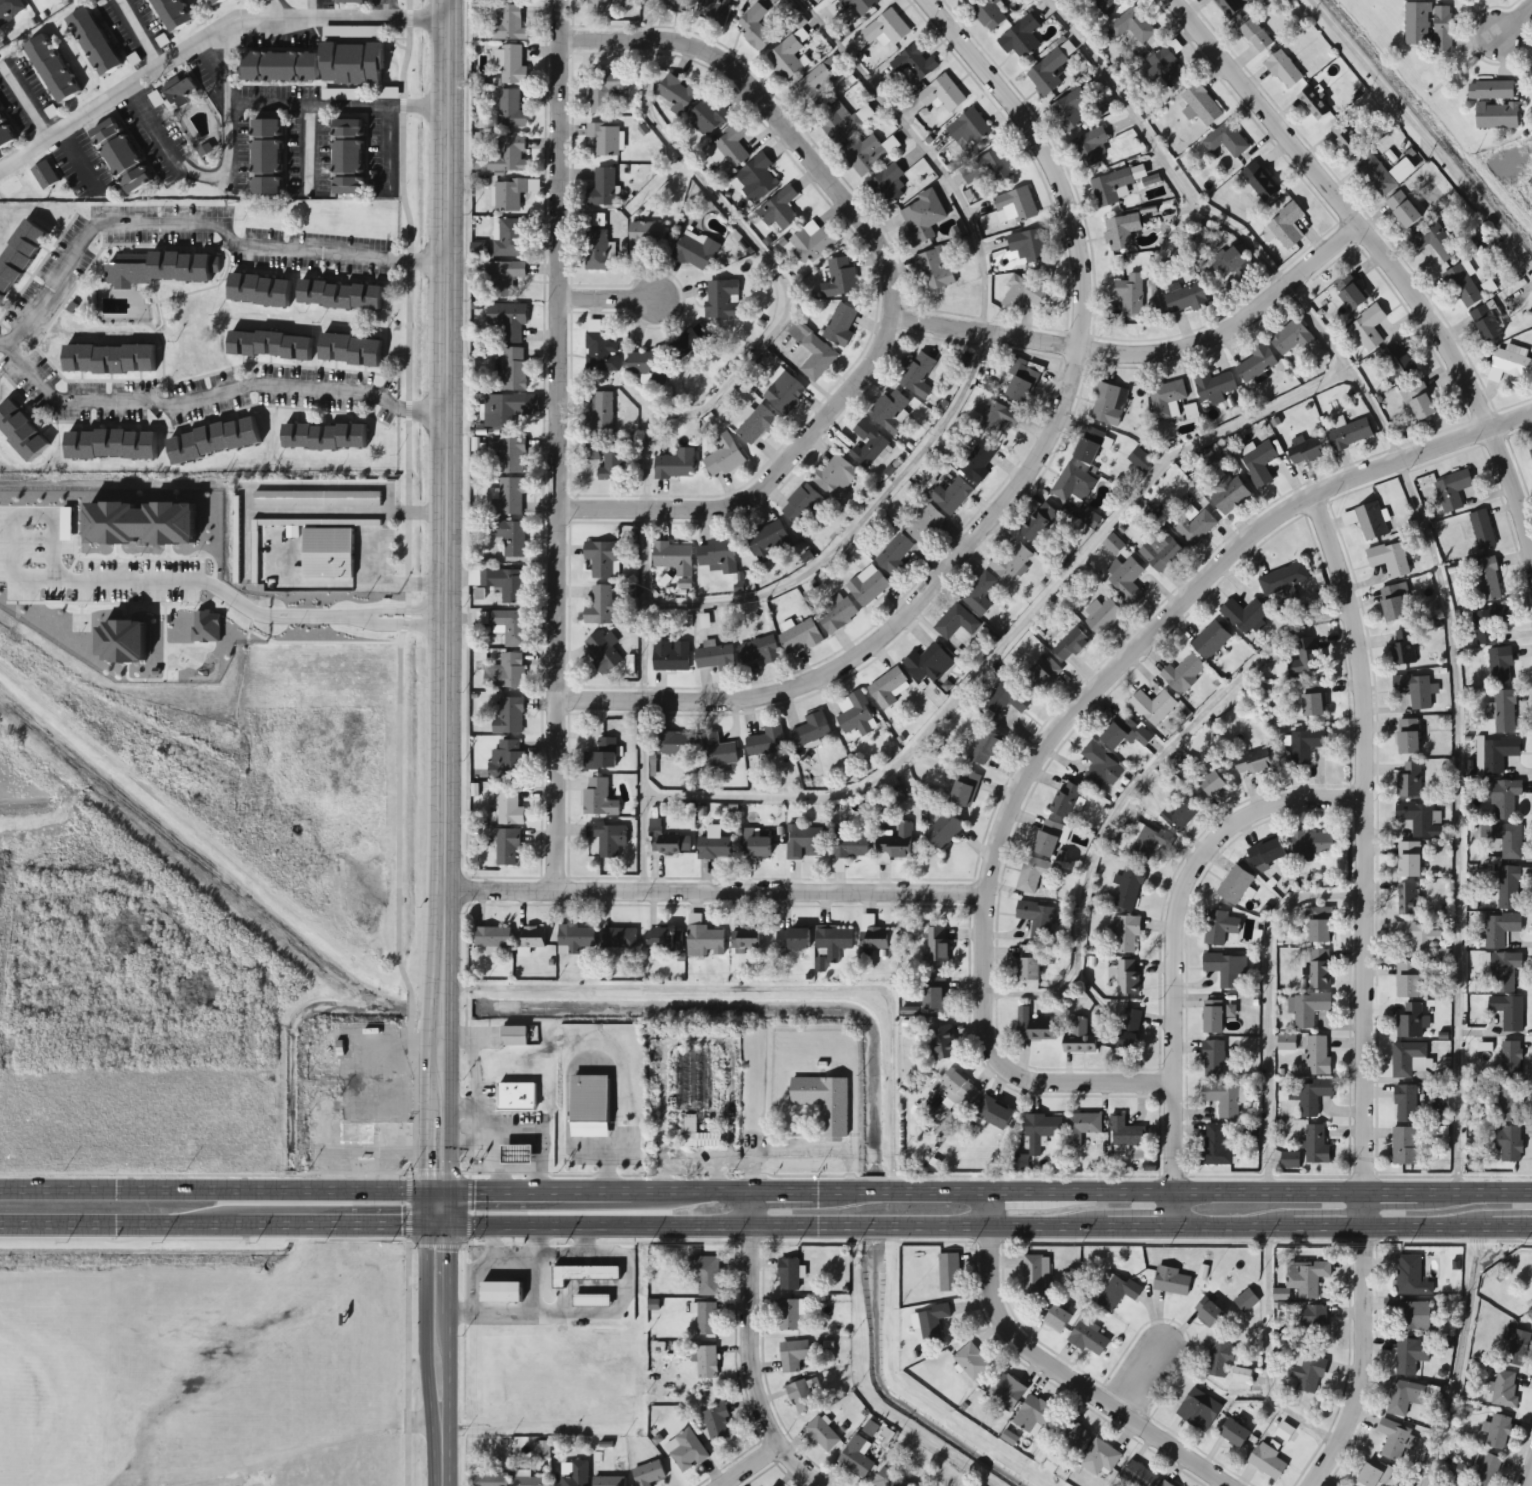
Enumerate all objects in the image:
building: (965, 0)
building: (30, 1)
building: (354, 1)
building: (216, 2)
building: (676, 5)
building: (859, 5)
building: (1229, 6)
building: (1104, 7)
building: (597, 8)
building: (10, 9)
building: (180, 9)
road: (281, 9)
road: (308, 9)
road: (390, 9)
building: (714, 11)
building: (988, 13)
road: (1514, 19)
building: (509, 25)
building: (1132, 26)
building: (1428, 26)
building: (755, 28)
building: (885, 29)
building: (98, 32)
road: (140, 33)
building: (1255, 35)
road: (207, 37)
building: (1020, 39)
building: (356, 55)
building: (786, 58)
building: (282, 59)
building: (56, 60)
building: (914, 63)
building: (513, 64)
building: (1166, 67)
building: (1283, 70)
building: (1048, 72)
building: (181, 79)
building: (818, 84)
building: (1490, 90)
building: (604, 91)
building: (676, 93)
building: (942, 94)
road: (24, 99)
road: (334, 99)
building: (1313, 103)
building: (1200, 105)
building: (511, 109)
building: (1070, 109)
building: (1497, 115)
building: (708, 117)
building: (843, 122)
building: (6, 126)
building: (968, 130)
road: (1420, 133)
building: (605, 138)
building: (1345, 138)
building: (1226, 140)
building: (121, 142)
road: (305, 142)
building: (268, 145)
building: (732, 146)
building: (1091, 148)
building: (352, 149)
building: (868, 154)
building: (504, 157)
road: (222, 164)
building: (990, 167)
building: (1384, 174)
building: (45, 175)
building: (756, 178)
building: (1260, 181)
building: (1116, 185)
building: (890, 186)
building: (602, 188)
building: (509, 195)
road: (1310, 196)
building: (1016, 204)
building: (1403, 210)
building: (779, 211)
building: (921, 218)
road: (197, 226)
building: (1285, 228)
building: (1121, 231)
building: (645, 236)
building: (510, 238)
building: (1435, 242)
building: (812, 243)
building: (1028, 245)
building: (599, 251)
building: (695, 251)
building: (20, 254)
road: (1380, 254)
building: (1232, 264)
building: (165, 268)
building: (934, 270)
building: (503, 279)
building: (840, 279)
building: (1463, 286)
building: (262, 290)
road: (899, 291)
building: (1348, 292)
building: (1130, 294)
building: (342, 295)
building: (1023, 295)
building: (1, 297)
building: (1184, 298)
road: (607, 299)
building: (722, 299)
building: (507, 320)
building: (1486, 322)
building: (840, 326)
building: (1366, 331)
building: (1291, 337)
building: (688, 342)
building: (271, 345)
building: (353, 350)
building: (601, 352)
building: (812, 352)
road: (1147, 354)
building: (111, 359)
building: (1257, 363)
building: (1510, 363)
building: (648, 366)
building: (512, 368)
building: (1386, 370)
building: (916, 374)
building: (1021, 384)
building: (1214, 386)
road: (212, 390)
building: (784, 393)
building: (1167, 399)
building: (1419, 402)
building: (1109, 404)
building: (507, 409)
building: (890, 411)
building: (599, 412)
road: (683, 412)
building: (996, 417)
building: (756, 425)
building: (23, 431)
building: (1349, 434)
building: (326, 437)
building: (216, 441)
building: (868, 444)
building: (112, 445)
building: (1088, 446)
road: (555, 447)
building: (1531, 449)
building: (1305, 451)
building: (511, 456)
building: (723, 457)
building: (606, 459)
building: (1140, 460)
building: (978, 463)
building: (1259, 464)
building: (675, 465)
building: (834, 476)
road: (1018, 487)
building: (1452, 490)
building: (1228, 495)
building: (951, 496)
building: (508, 497)
building: (318, 499)
road: (28, 506)
building: (803, 506)
building: (1371, 521)
building: (1038, 523)
building: (925, 525)
building: (1194, 527)
building: (1482, 529)
road: (1423, 532)
building: (509, 536)
building: (768, 541)
building: (1161, 551)
building: (329, 553)
building: (718, 555)
building: (894, 555)
building: (673, 557)
building: (602, 559)
building: (1389, 559)
building: (1011, 562)
building: (1488, 579)
building: (1126, 580)
building: (1284, 580)
building: (501, 583)
building: (867, 588)
road: (228, 593)
building: (979, 594)
building: (1393, 602)
building: (604, 603)
road: (445, 613)
building: (835, 614)
building: (1245, 616)
building: (1103, 617)
road: (398, 620)
building: (956, 622)
building: (1489, 622)
building: (506, 626)
road: (1013, 634)
building: (799, 636)
building: (1210, 641)
building: (1070, 645)
building: (1403, 648)
building: (759, 650)
building: (602, 651)
building: (670, 656)
building: (713, 657)
building: (1307, 658)
building: (928, 663)
building: (1500, 665)
building: (505, 672)
building: (1183, 674)
building: (1041, 675)
building: (886, 688)
building: (1416, 690)
building: (1006, 698)
building: (1312, 698)
building: (1152, 707)
road: (1073, 709)
building: (1505, 712)
building: (856, 715)
building: (509, 716)
building: (811, 730)
building: (1124, 733)
building: (1407, 737)
building: (766, 742)
building: (671, 744)
building: (1306, 744)
building: (985, 749)
building: (718, 751)
building: (1499, 753)
building: (601, 756)
building: (507, 761)
building: (1253, 763)
building: (1101, 767)
building: (1409, 781)
building: (1208, 786)
building: (963, 789)
road: (1127, 793)
building: (598, 799)
building: (1504, 799)
building: (1067, 801)
building: (507, 805)
building: (1183, 814)
building: (1422, 819)
building: (943, 831)
building: (607, 838)
building: (1049, 838)
building: (1505, 839)
building: (662, 840)
building: (804, 842)
building: (894, 842)
building: (1143, 842)
building: (1312, 844)
building: (848, 845)
building: (755, 846)
building: (507, 847)
building: (715, 847)
building: (1266, 852)
building: (1409, 859)
building: (1032, 874)
building: (1234, 885)
building: (1129, 887)
building: (1509, 888)
road: (714, 895)
building: (1406, 900)
building: (1036, 918)
building: (1319, 926)
building: (1220, 927)
building: (1500, 929)
building: (1127, 934)
building: (491, 937)
building: (529, 938)
building: (1419, 938)
building: (574, 939)
building: (618, 939)
building: (704, 939)
building: (745, 939)
building: (792, 939)
building: (874, 939)
building: (663, 940)
building: (833, 941)
building: (937, 945)
road: (1174, 952)
building: (1028, 963)
building: (1224, 969)
building: (1319, 969)
building: (1504, 971)
building: (1128, 977)
building: (1407, 980)
road: (762, 990)
road: (1361, 992)
building: (933, 993)
road: (1268, 1008)
building: (1307, 1009)
building: (1508, 1012)
building: (1212, 1017)
building: (1411, 1022)
building: (1033, 1026)
building: (516, 1028)
building: (1128, 1030)
building: (1078, 1038)
building: (1286, 1042)
building: (940, 1043)
building: (1317, 1055)
building: (1408, 1059)
building: (1213, 1060)
building: (1511, 1060)
building: (518, 1087)
building: (958, 1088)
building: (1313, 1096)
building: (593, 1097)
building: (1223, 1099)
building: (823, 1101)
building: (1405, 1104)
building: (1506, 1104)
building: (993, 1113)
building: (1081, 1127)
building: (1041, 1130)
building: (356, 1133)
building: (1125, 1133)
building: (1508, 1143)
building: (1215, 1145)
building: (520, 1146)
gas station: (520, 1146)
building: (1317, 1146)
building: (1404, 1146)
building: (1289, 1160)
traffic signals: (437, 1192)
road: (766, 1192)
traffic signals: (437, 1226)
road: (766, 1227)
building: (585, 1272)
building: (948, 1272)
building: (1034, 1274)
building: (787, 1275)
building: (706, 1276)
building: (1411, 1276)
building: (1306, 1277)
building: (1171, 1281)
building: (498, 1291)
building: (1118, 1292)
building: (590, 1300)
building: (1246, 1301)
building: (1208, 1313)
building: (787, 1315)
building: (1412, 1315)
building: (1530, 1315)
building: (1056, 1318)
building: (706, 1319)
building: (932, 1323)
building: (1312, 1323)
building: (1088, 1339)
building: (1514, 1346)
road: (1269, 1350)
road: (746, 1353)
building: (793, 1355)
building: (1411, 1355)
road: (437, 1356)
building: (1220, 1359)
road: (1459, 1359)
building: (706, 1362)
building: (972, 1362)
road: (1048, 1372)
building: (1308, 1372)
road: (1140, 1377)
road: (864, 1389)
building: (1507, 1389)
building: (1006, 1392)
building: (800, 1397)
building: (1404, 1397)
building: (1198, 1410)
building: (1035, 1417)
building: (716, 1422)
building: (1072, 1432)
building: (1498, 1432)
building: (1233, 1433)
building: (821, 1434)
building: (1396, 1439)
building: (687, 1451)
building: (855, 1456)
building: (1099, 1458)
building: (1267, 1462)
road: (741, 1464)
road: (1523, 1467)
building: (1458, 1469)
building: (1484, 1470)
building: (647, 1473)
building: (1374, 1473)
building: (577, 1474)
building: (1138, 1475)
building: (887, 1478)
building: (489, 1479)
building: (529, 1481)
building: (608, 1481)
building: (1165, 1484)

